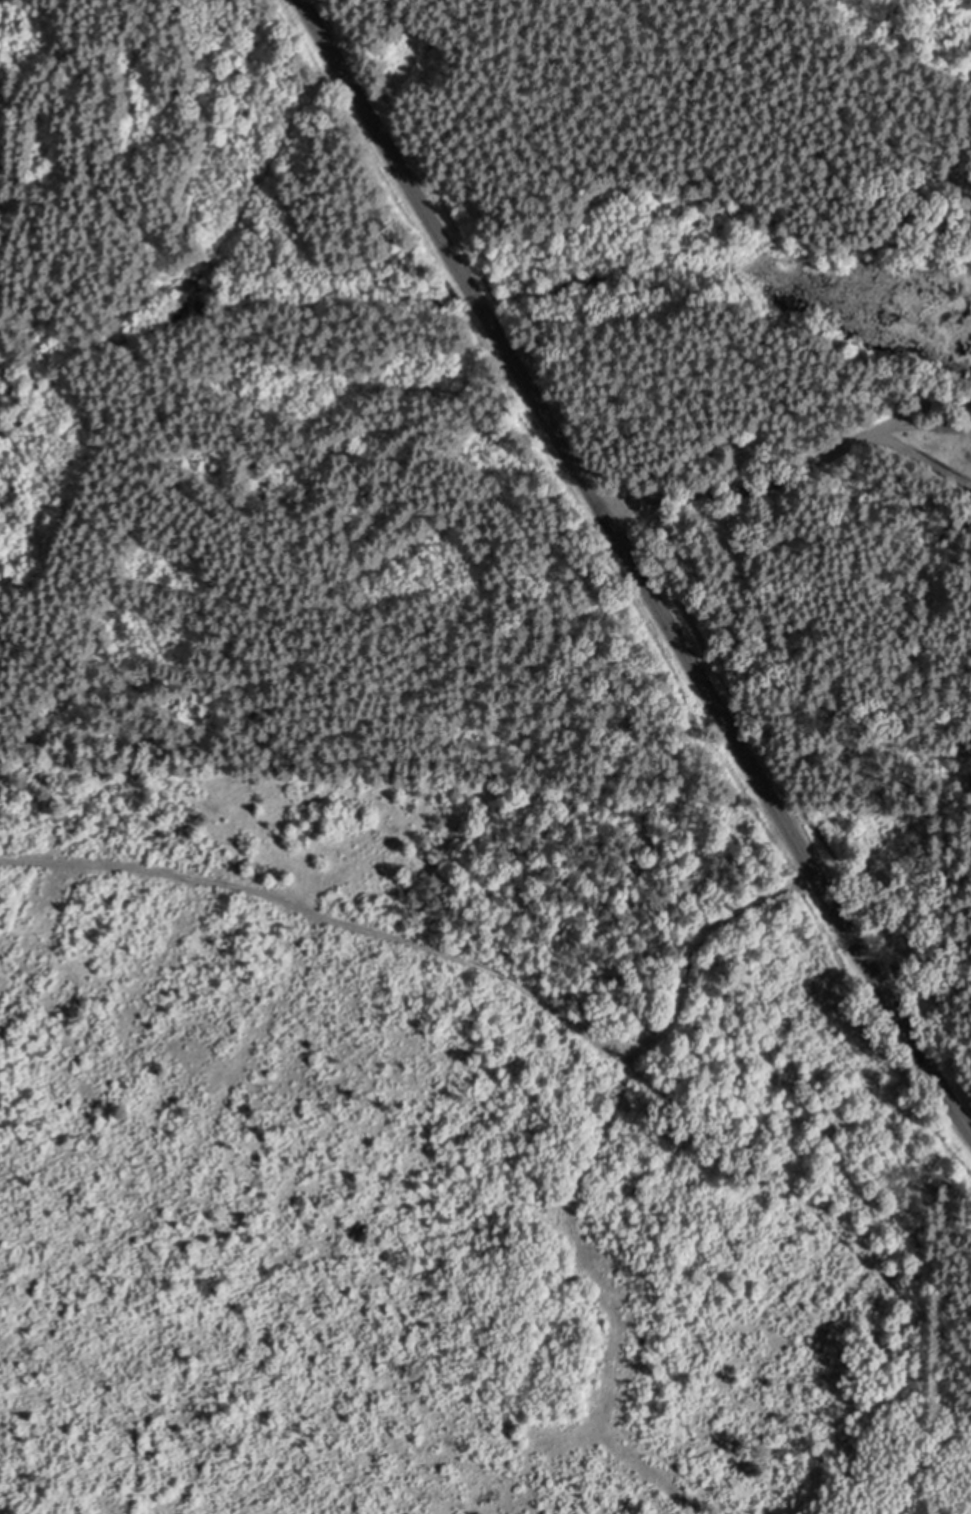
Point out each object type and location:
road: (792, 473)
road: (631, 568)
road: (457, 955)
road: (604, 1292)

